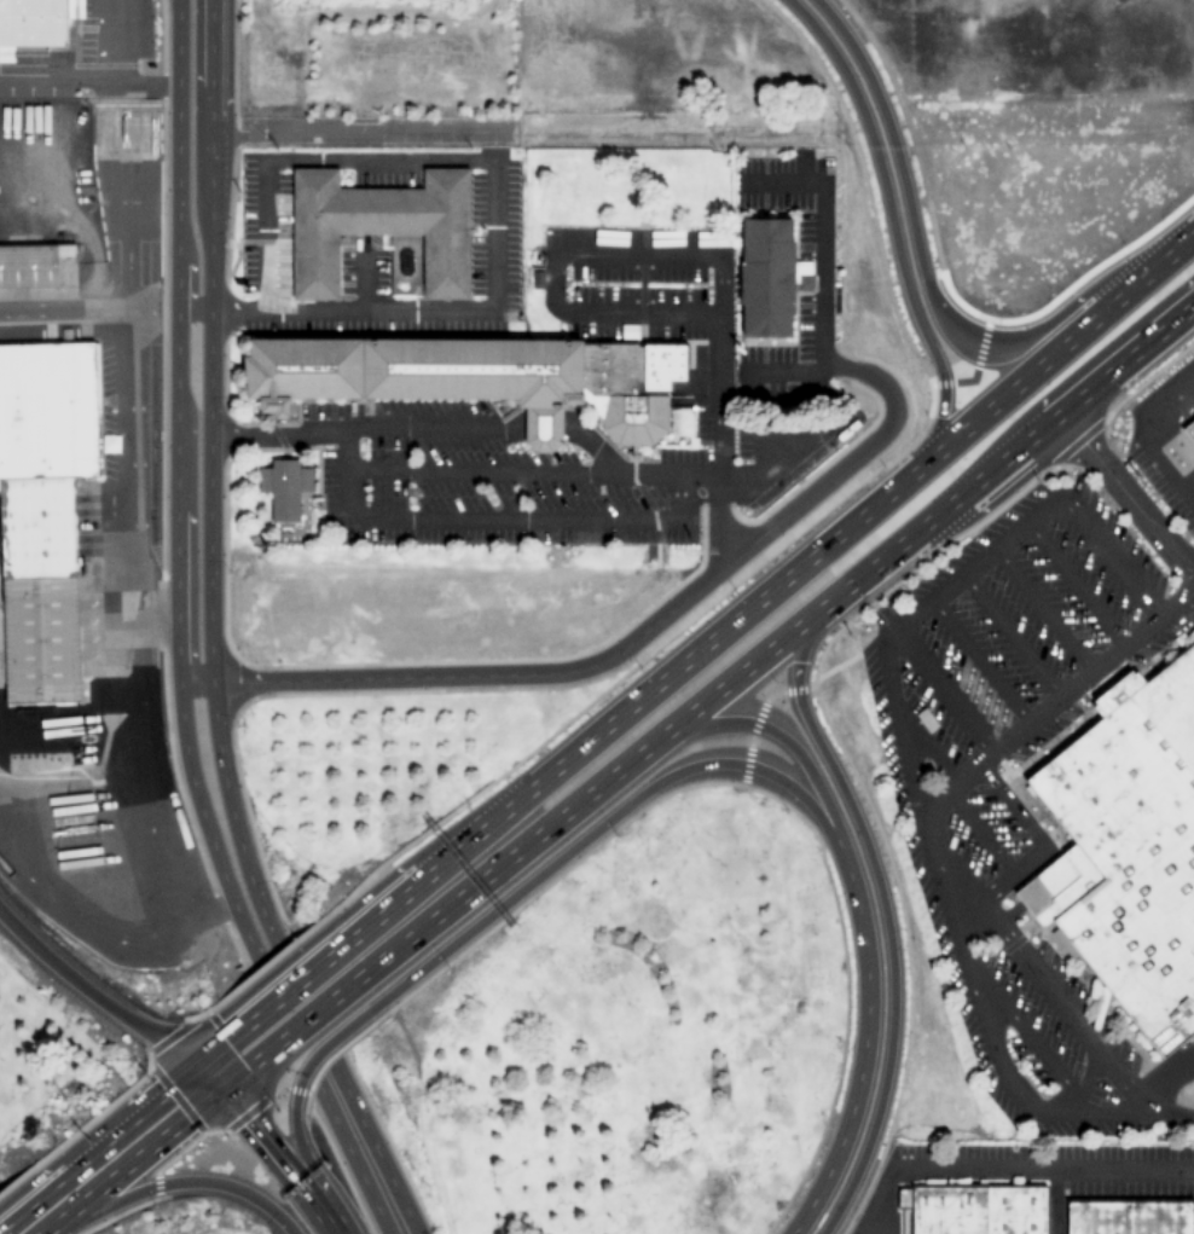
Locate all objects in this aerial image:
building: (36, 22)
road: (95, 81)
road: (517, 137)
road: (887, 226)
building: (379, 227)
road: (821, 242)
building: (31, 265)
building: (767, 278)
parking lot: (821, 285)
road: (926, 296)
road: (58, 309)
road: (193, 343)
road: (1055, 347)
road: (781, 373)
building: (480, 378)
road: (810, 387)
road: (1144, 431)
building: (1188, 431)
road: (997, 459)
parking lot: (1163, 481)
building: (284, 488)
road: (134, 492)
road: (1123, 496)
building: (44, 539)
road: (976, 564)
road: (1073, 584)
road: (1042, 610)
parking lot: (1013, 613)
road: (1010, 636)
road: (626, 647)
road: (979, 662)
road: (1092, 667)
building: (108, 695)
gas station: (108, 695)
road: (627, 701)
building: (923, 720)
parking lot: (886, 722)
road: (955, 783)
road: (912, 794)
road: (575, 798)
road: (599, 829)
parking lot: (986, 832)
building: (1126, 851)
road: (1028, 862)
road: (182, 891)
road: (215, 903)
road: (964, 909)
road: (860, 923)
road: (886, 923)
road: (272, 969)
road: (284, 985)
road: (92, 992)
road: (1051, 992)
parking lot: (967, 1013)
parking lot: (1050, 1014)
road: (297, 1019)
road: (1027, 1036)
road: (211, 1049)
road: (318, 1050)
road: (991, 1059)
road: (228, 1074)
road: (203, 1077)
road: (1164, 1082)
road: (1101, 1119)
road: (1165, 1119)
road: (116, 1134)
road: (73, 1153)
road: (134, 1155)
road: (278, 1158)
road: (313, 1172)
road: (178, 1186)
road: (17, 1193)
road: (874, 1201)
building: (973, 1210)
road: (19, 1217)
building: (1128, 1217)
road: (51, 1227)
road: (45, 1232)

